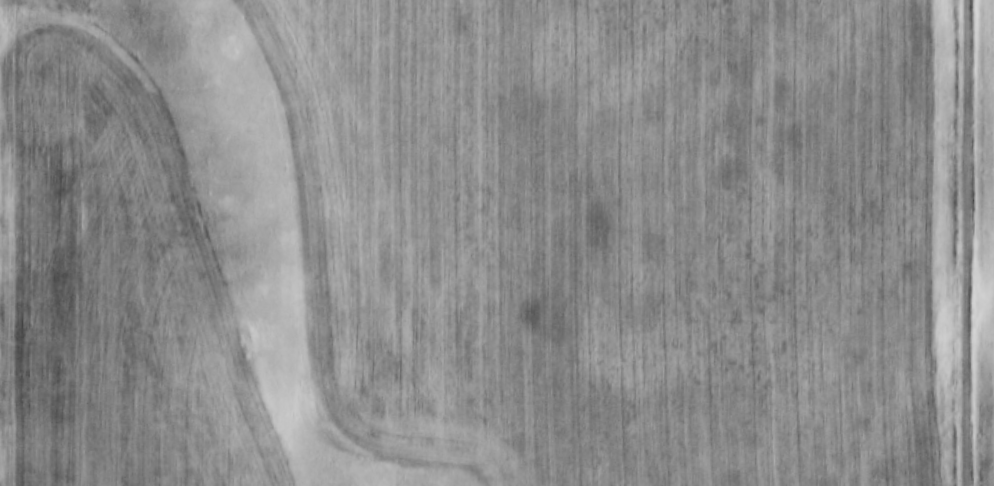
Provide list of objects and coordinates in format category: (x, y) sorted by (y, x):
road: (964, 242)

